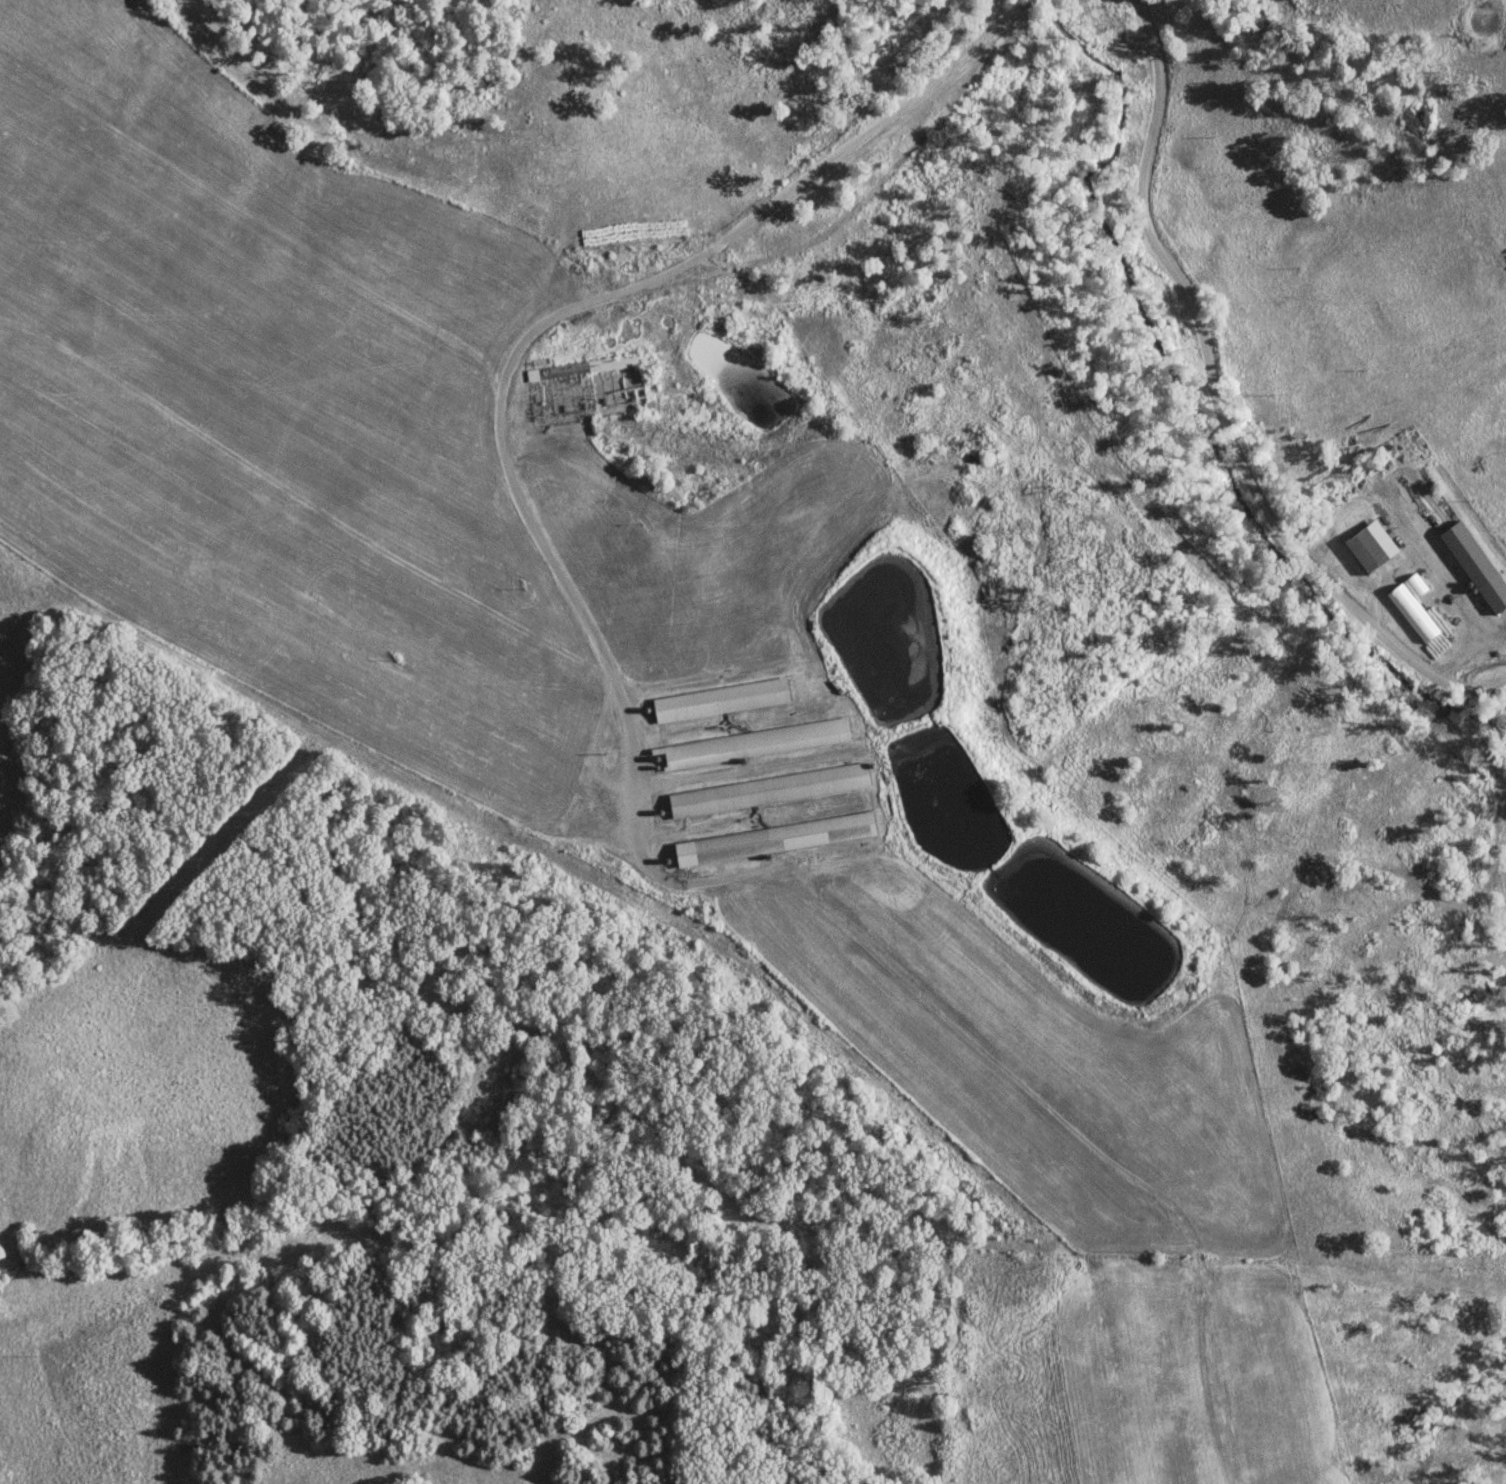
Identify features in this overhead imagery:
road: (631, 287)
building: (591, 373)
road: (1212, 407)
building: (1368, 550)
building: (1477, 566)
building: (721, 701)
building: (752, 744)
building: (770, 790)
building: (777, 839)

